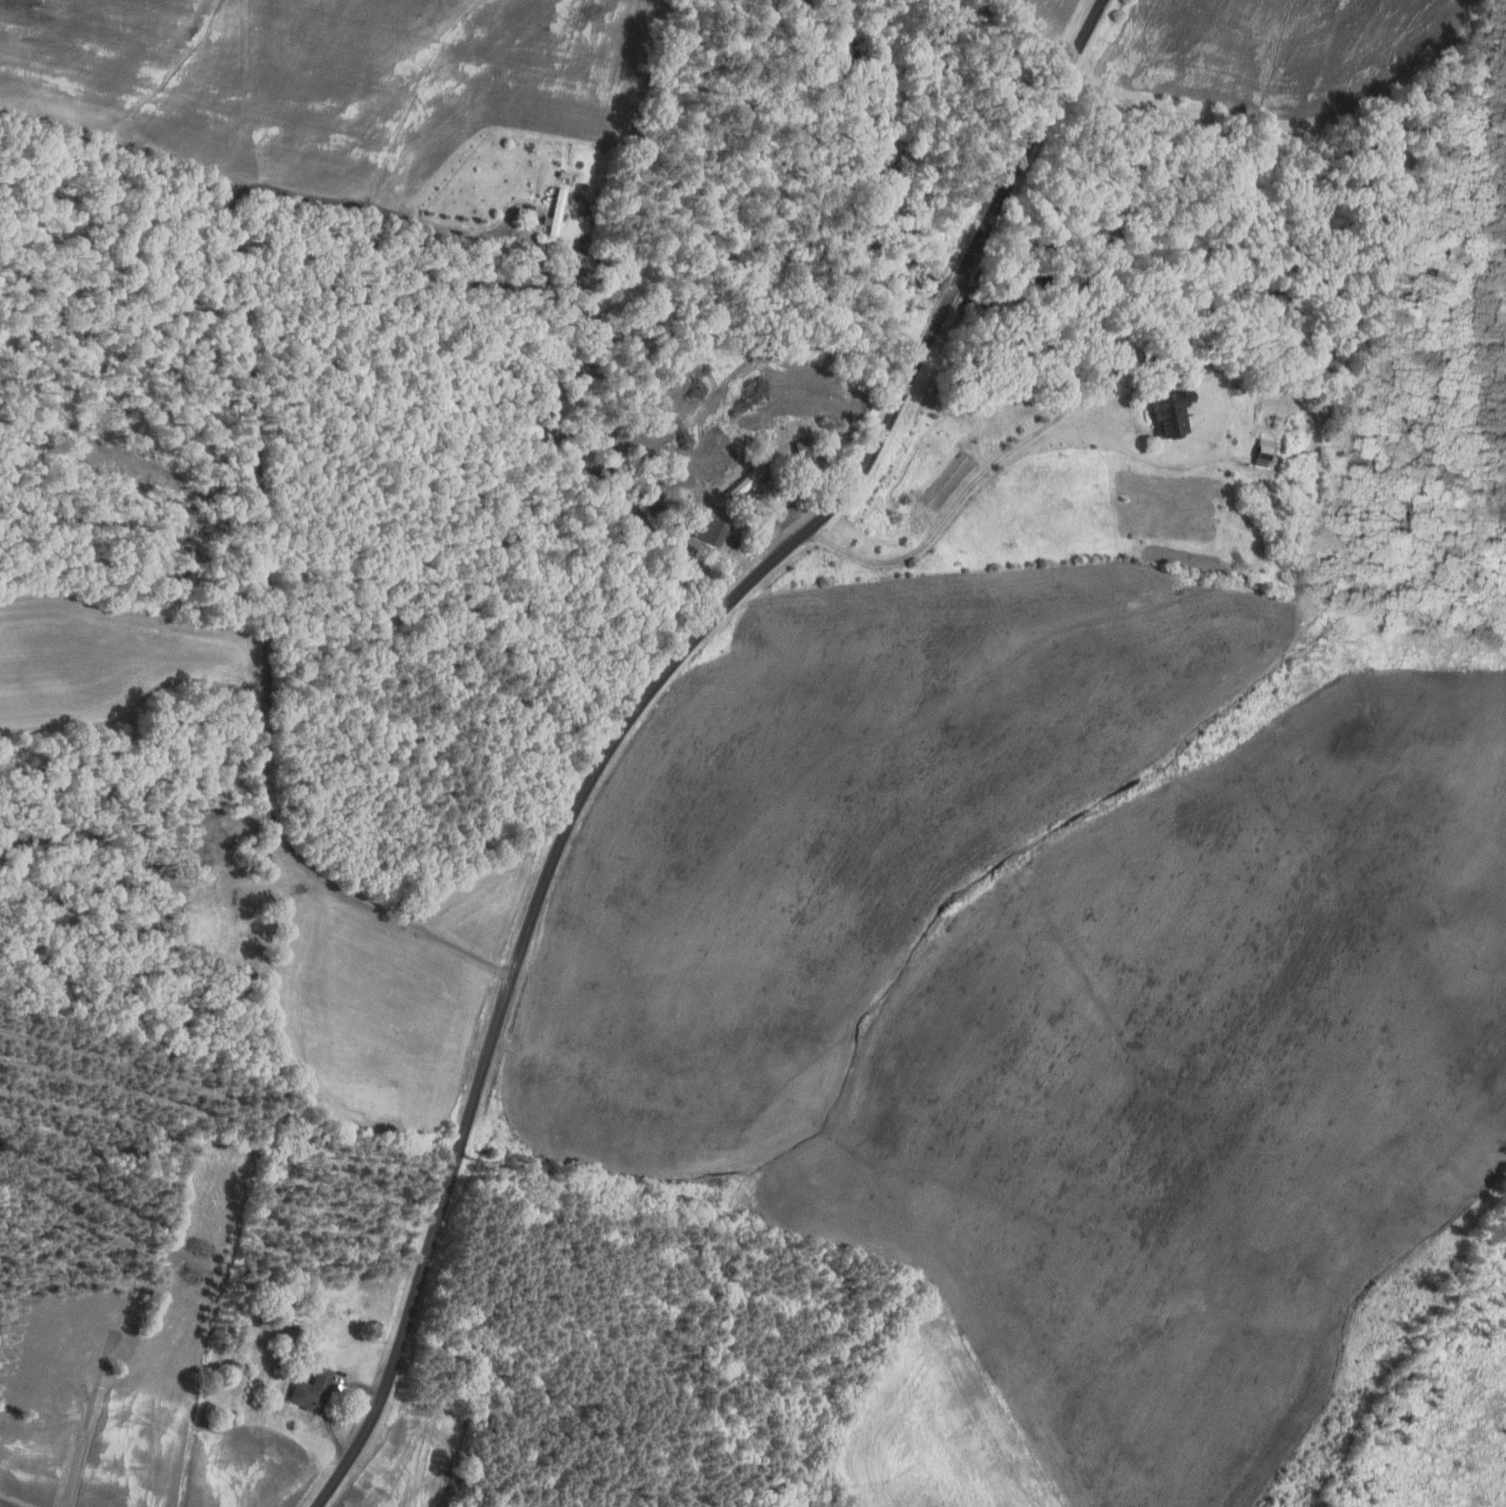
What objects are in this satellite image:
building: (1433, 100)
road: (1225, 129)
road: (1031, 136)
building: (564, 175)
building: (558, 211)
road: (951, 292)
building: (1177, 344)
building: (1168, 412)
building: (724, 445)
building: (1260, 453)
building: (810, 454)
road: (979, 477)
building: (749, 482)
road: (261, 514)
building: (713, 531)
road: (548, 865)
building: (290, 1320)
building: (277, 1370)
building: (312, 1390)
road: (330, 1401)
road: (1, 1506)

